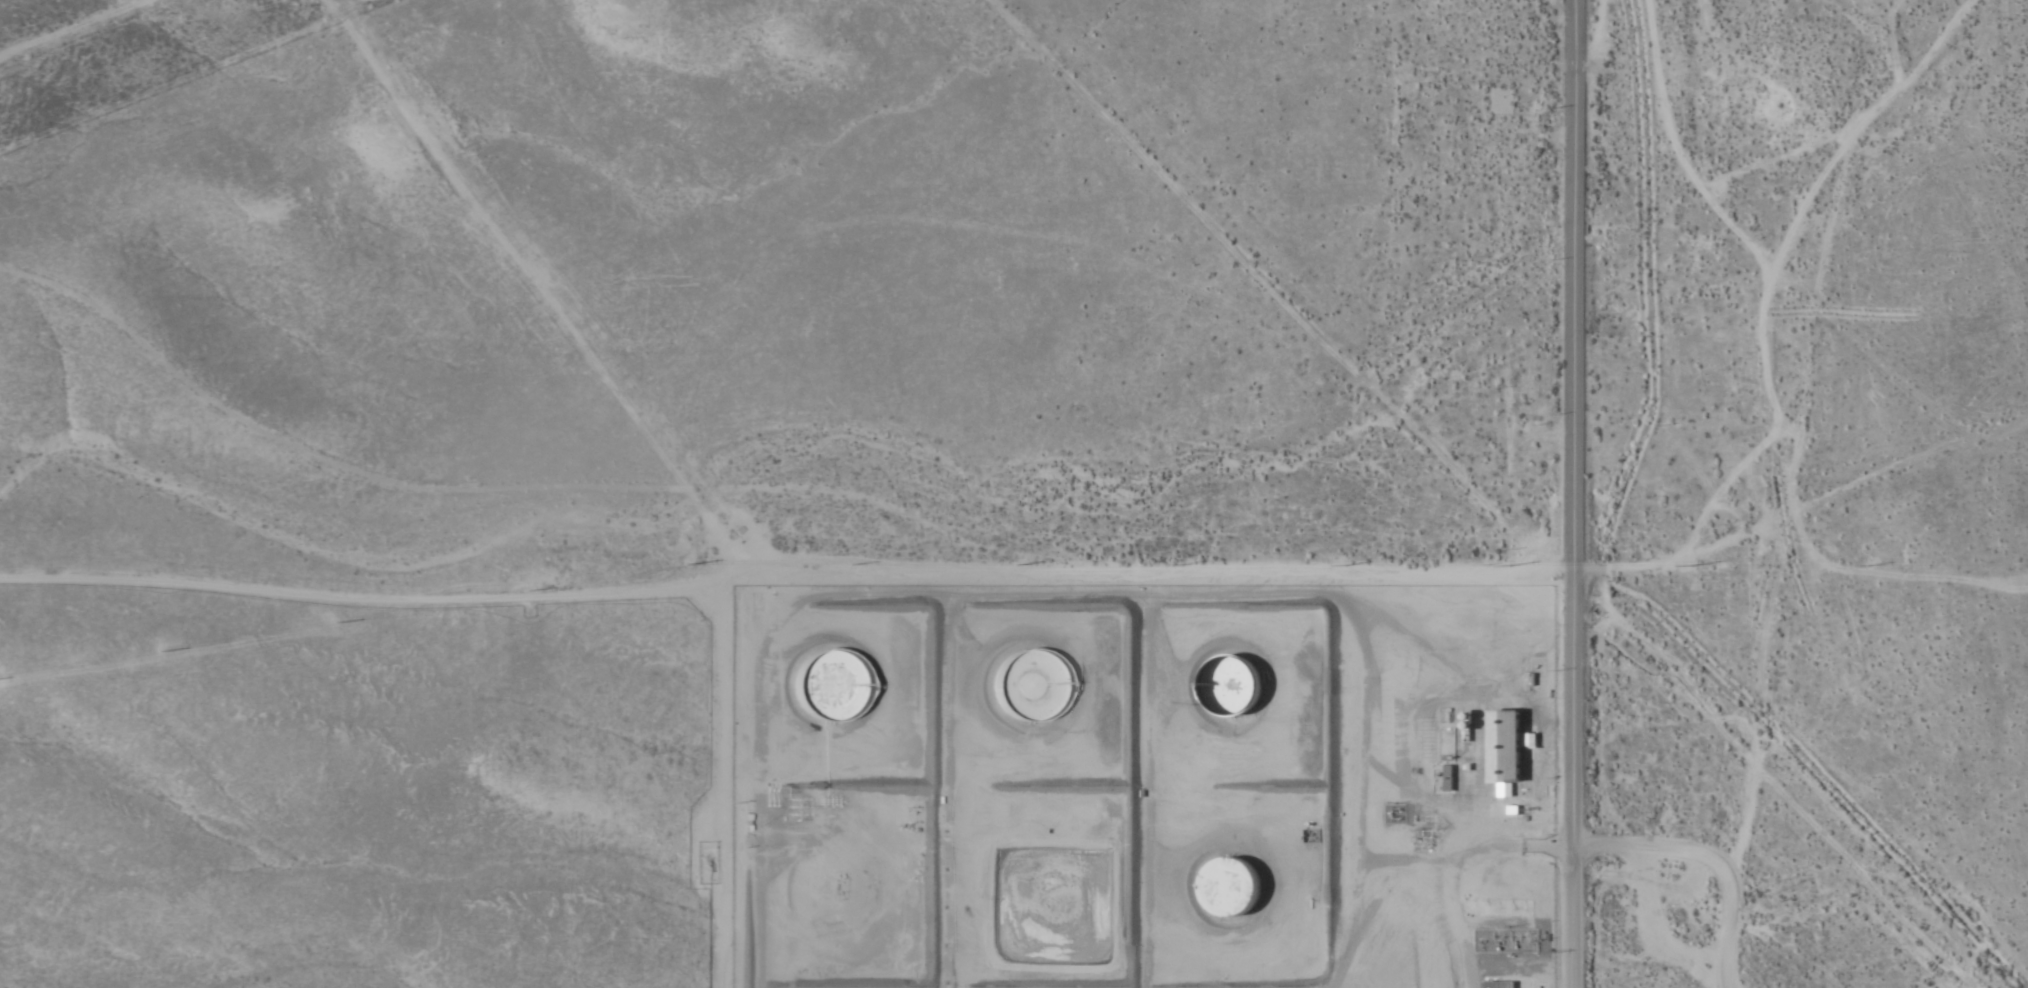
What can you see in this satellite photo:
road: (1581, 2)
road: (1270, 284)
road: (318, 456)
road: (663, 457)
road: (1574, 494)
road: (1683, 539)
road: (784, 571)
building: (830, 685)
building: (1227, 686)
building: (1031, 687)
building: (1502, 746)
building: (1423, 759)
building: (1444, 778)
building: (1227, 888)
road: (1612, 969)
building: (1498, 985)

